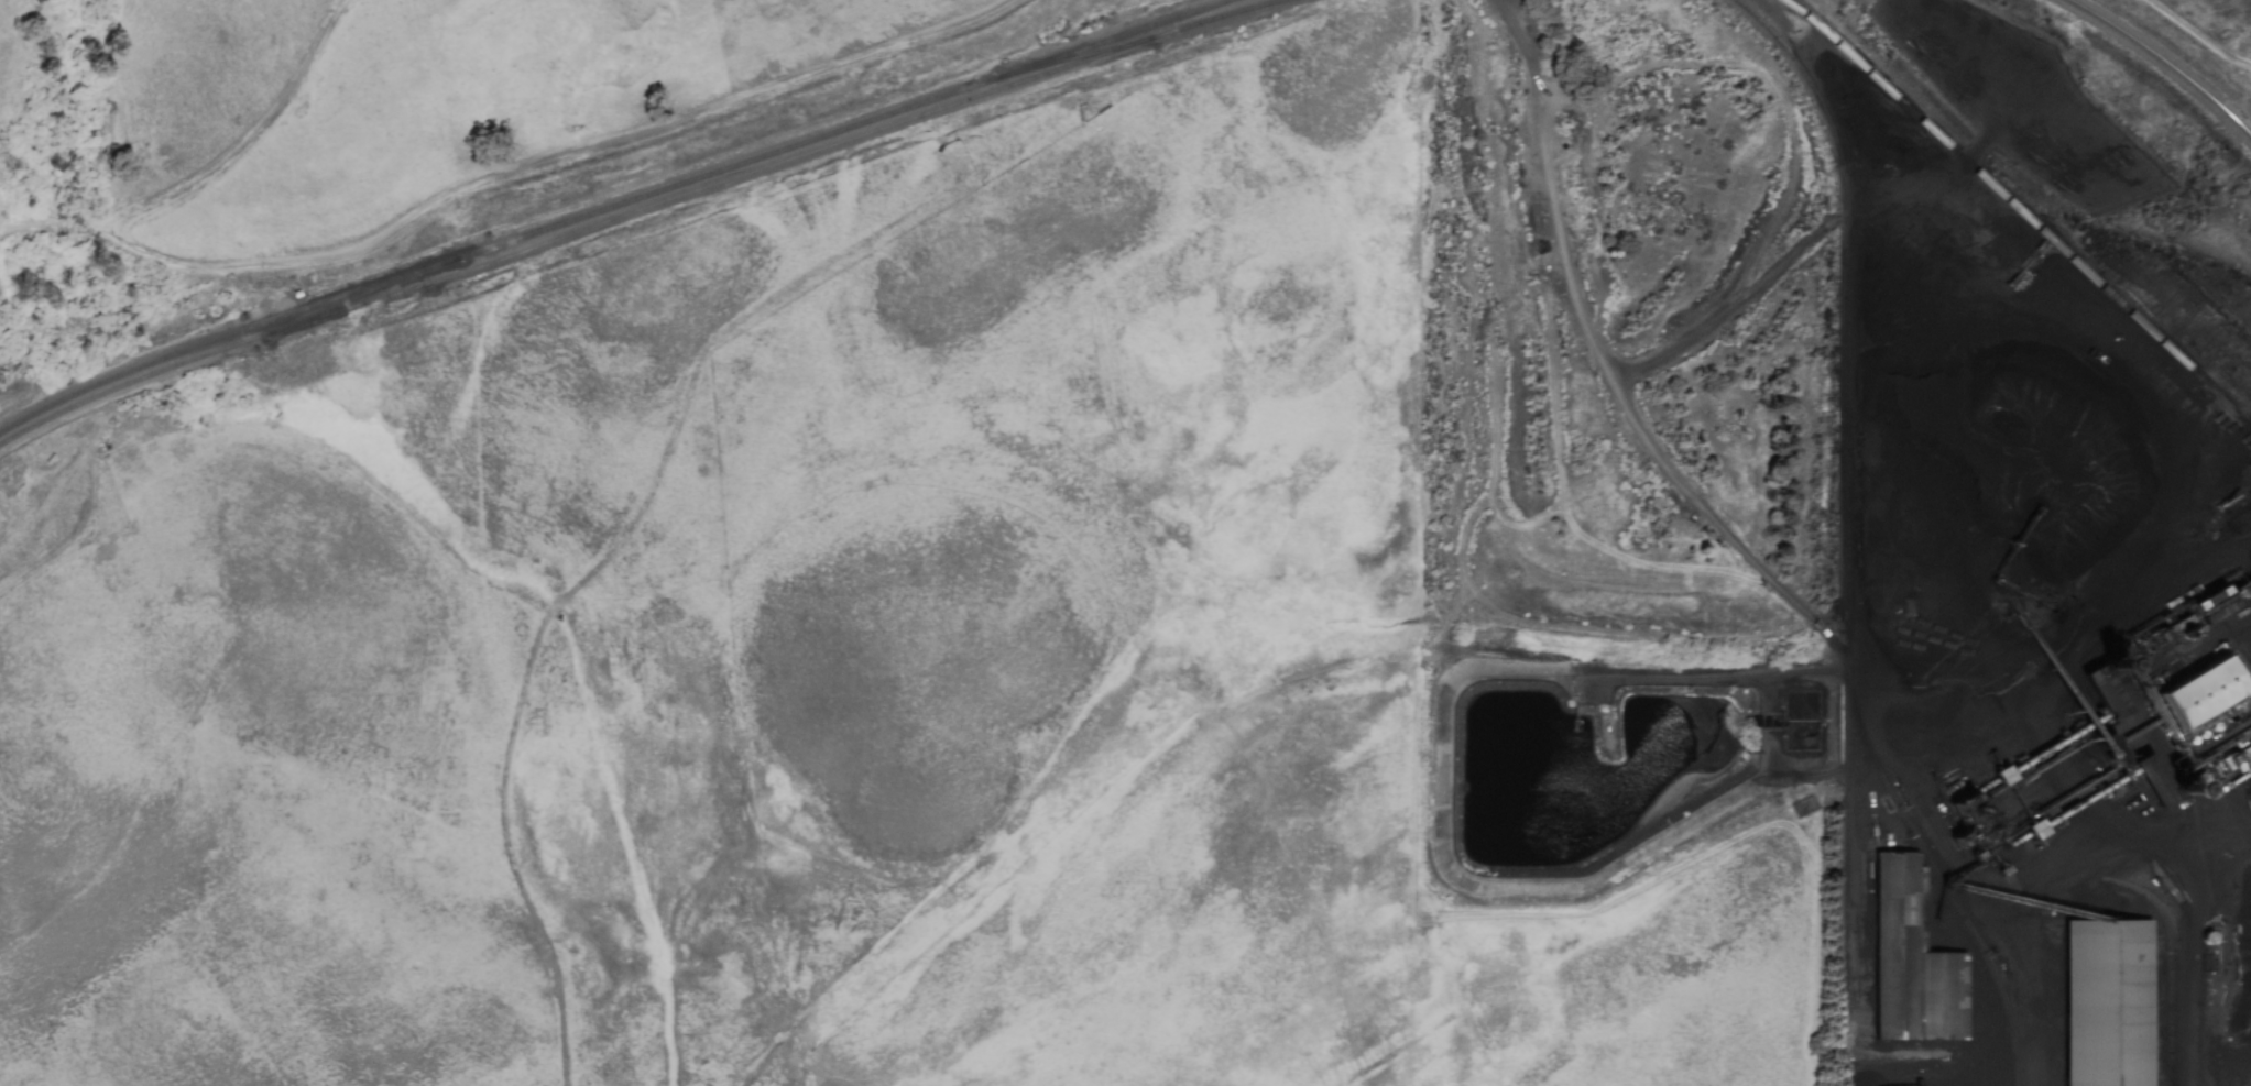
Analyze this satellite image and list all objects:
railway: (2165, 63)
railway: (794, 158)
road: (209, 182)
railway: (614, 208)
railway: (2021, 208)
railway: (380, 293)
railway: (147, 379)
railway: (1854, 486)
building: (2199, 693)
building: (2241, 753)
building: (2153, 780)
building: (2035, 830)
road: (2226, 862)
railway: (1942, 879)
building: (1911, 961)
road: (2198, 981)
building: (2107, 1002)

